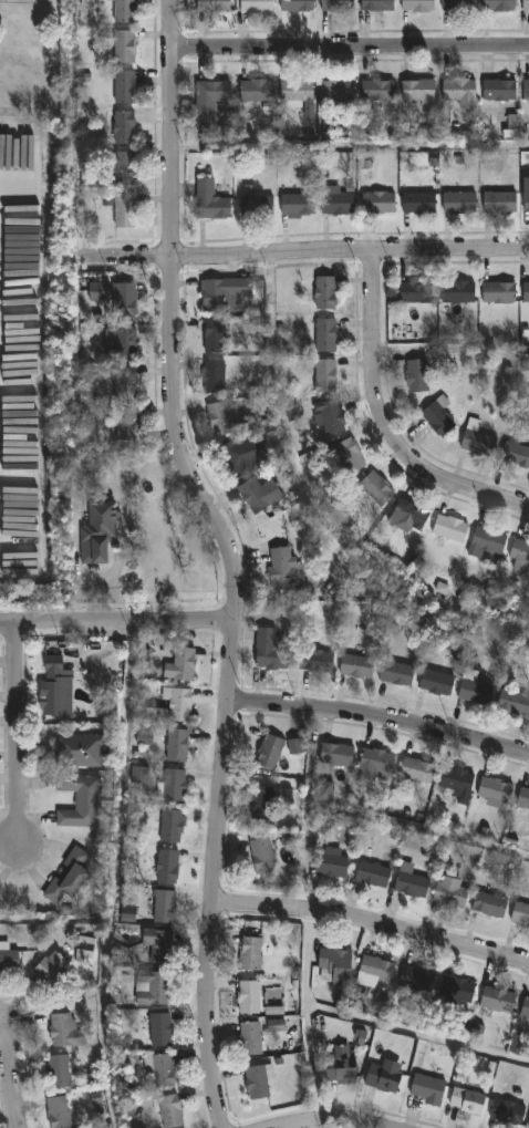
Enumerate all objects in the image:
building: (215, 4)
building: (258, 4)
building: (339, 4)
building: (378, 4)
building: (419, 4)
building: (459, 4)
building: (500, 4)
building: (527, 4)
building: (299, 6)
building: (125, 10)
building: (125, 45)
road: (349, 50)
building: (126, 86)
building: (380, 89)
building: (419, 89)
building: (501, 89)
building: (527, 89)
building: (298, 90)
building: (339, 90)
building: (257, 91)
building: (463, 91)
building: (210, 100)
building: (125, 126)
building: (124, 166)
building: (211, 200)
building: (527, 200)
building: (339, 201)
building: (380, 201)
building: (419, 201)
building: (461, 201)
building: (501, 201)
building: (299, 203)
building: (258, 205)
building: (126, 210)
road: (305, 258)
building: (101, 291)
building: (325, 291)
building: (416, 291)
building: (460, 291)
building: (500, 291)
building: (527, 291)
building: (225, 293)
building: (125, 299)
building: (328, 334)
building: (216, 335)
building: (122, 343)
building: (419, 373)
building: (215, 375)
building: (326, 375)
building: (125, 382)
building: (332, 416)
building: (439, 416)
building: (220, 417)
road: (390, 423)
building: (127, 424)
building: (479, 439)
building: (517, 454)
building: (349, 455)
building: (235, 456)
building: (378, 488)
building: (260, 494)
building: (412, 514)
building: (452, 528)
building: (98, 532)
building: (487, 541)
building: (520, 555)
road: (232, 559)
building: (286, 569)
road: (100, 576)
road: (115, 621)
building: (271, 650)
building: (318, 660)
building: (181, 664)
building: (359, 666)
building: (397, 672)
building: (438, 682)
building: (54, 687)
building: (476, 689)
building: (515, 702)
building: (179, 704)
building: (156, 714)
road: (378, 717)
road: (22, 733)
building: (144, 737)
building: (178, 745)
building: (295, 746)
building: (82, 751)
building: (270, 751)
building: (338, 754)
building: (375, 766)
building: (419, 770)
building: (139, 775)
building: (457, 780)
building: (176, 785)
building: (497, 789)
building: (324, 791)
building: (287, 796)
building: (523, 797)
building: (82, 801)
building: (263, 803)
building: (173, 826)
building: (262, 855)
building: (332, 862)
building: (168, 866)
building: (373, 875)
building: (71, 877)
building: (413, 884)
building: (452, 893)
building: (491, 904)
building: (166, 907)
building: (521, 913)
road: (371, 921)
building: (156, 936)
building: (85, 948)
building: (251, 954)
building: (9, 959)
building: (335, 966)
building: (378, 970)
building: (53, 972)
building: (418, 980)
building: (153, 989)
building: (458, 989)
building: (250, 997)
building: (499, 1000)
building: (525, 1007)
building: (276, 1025)
building: (162, 1029)
building: (66, 1032)
building: (251, 1038)
building: (518, 1043)
building: (340, 1065)
building: (160, 1069)
building: (59, 1073)
building: (384, 1079)
building: (259, 1080)
road: (10, 1082)
building: (429, 1089)
building: (469, 1101)
building: (169, 1110)
building: (60, 1113)
building: (509, 1113)
road: (335, 1119)

